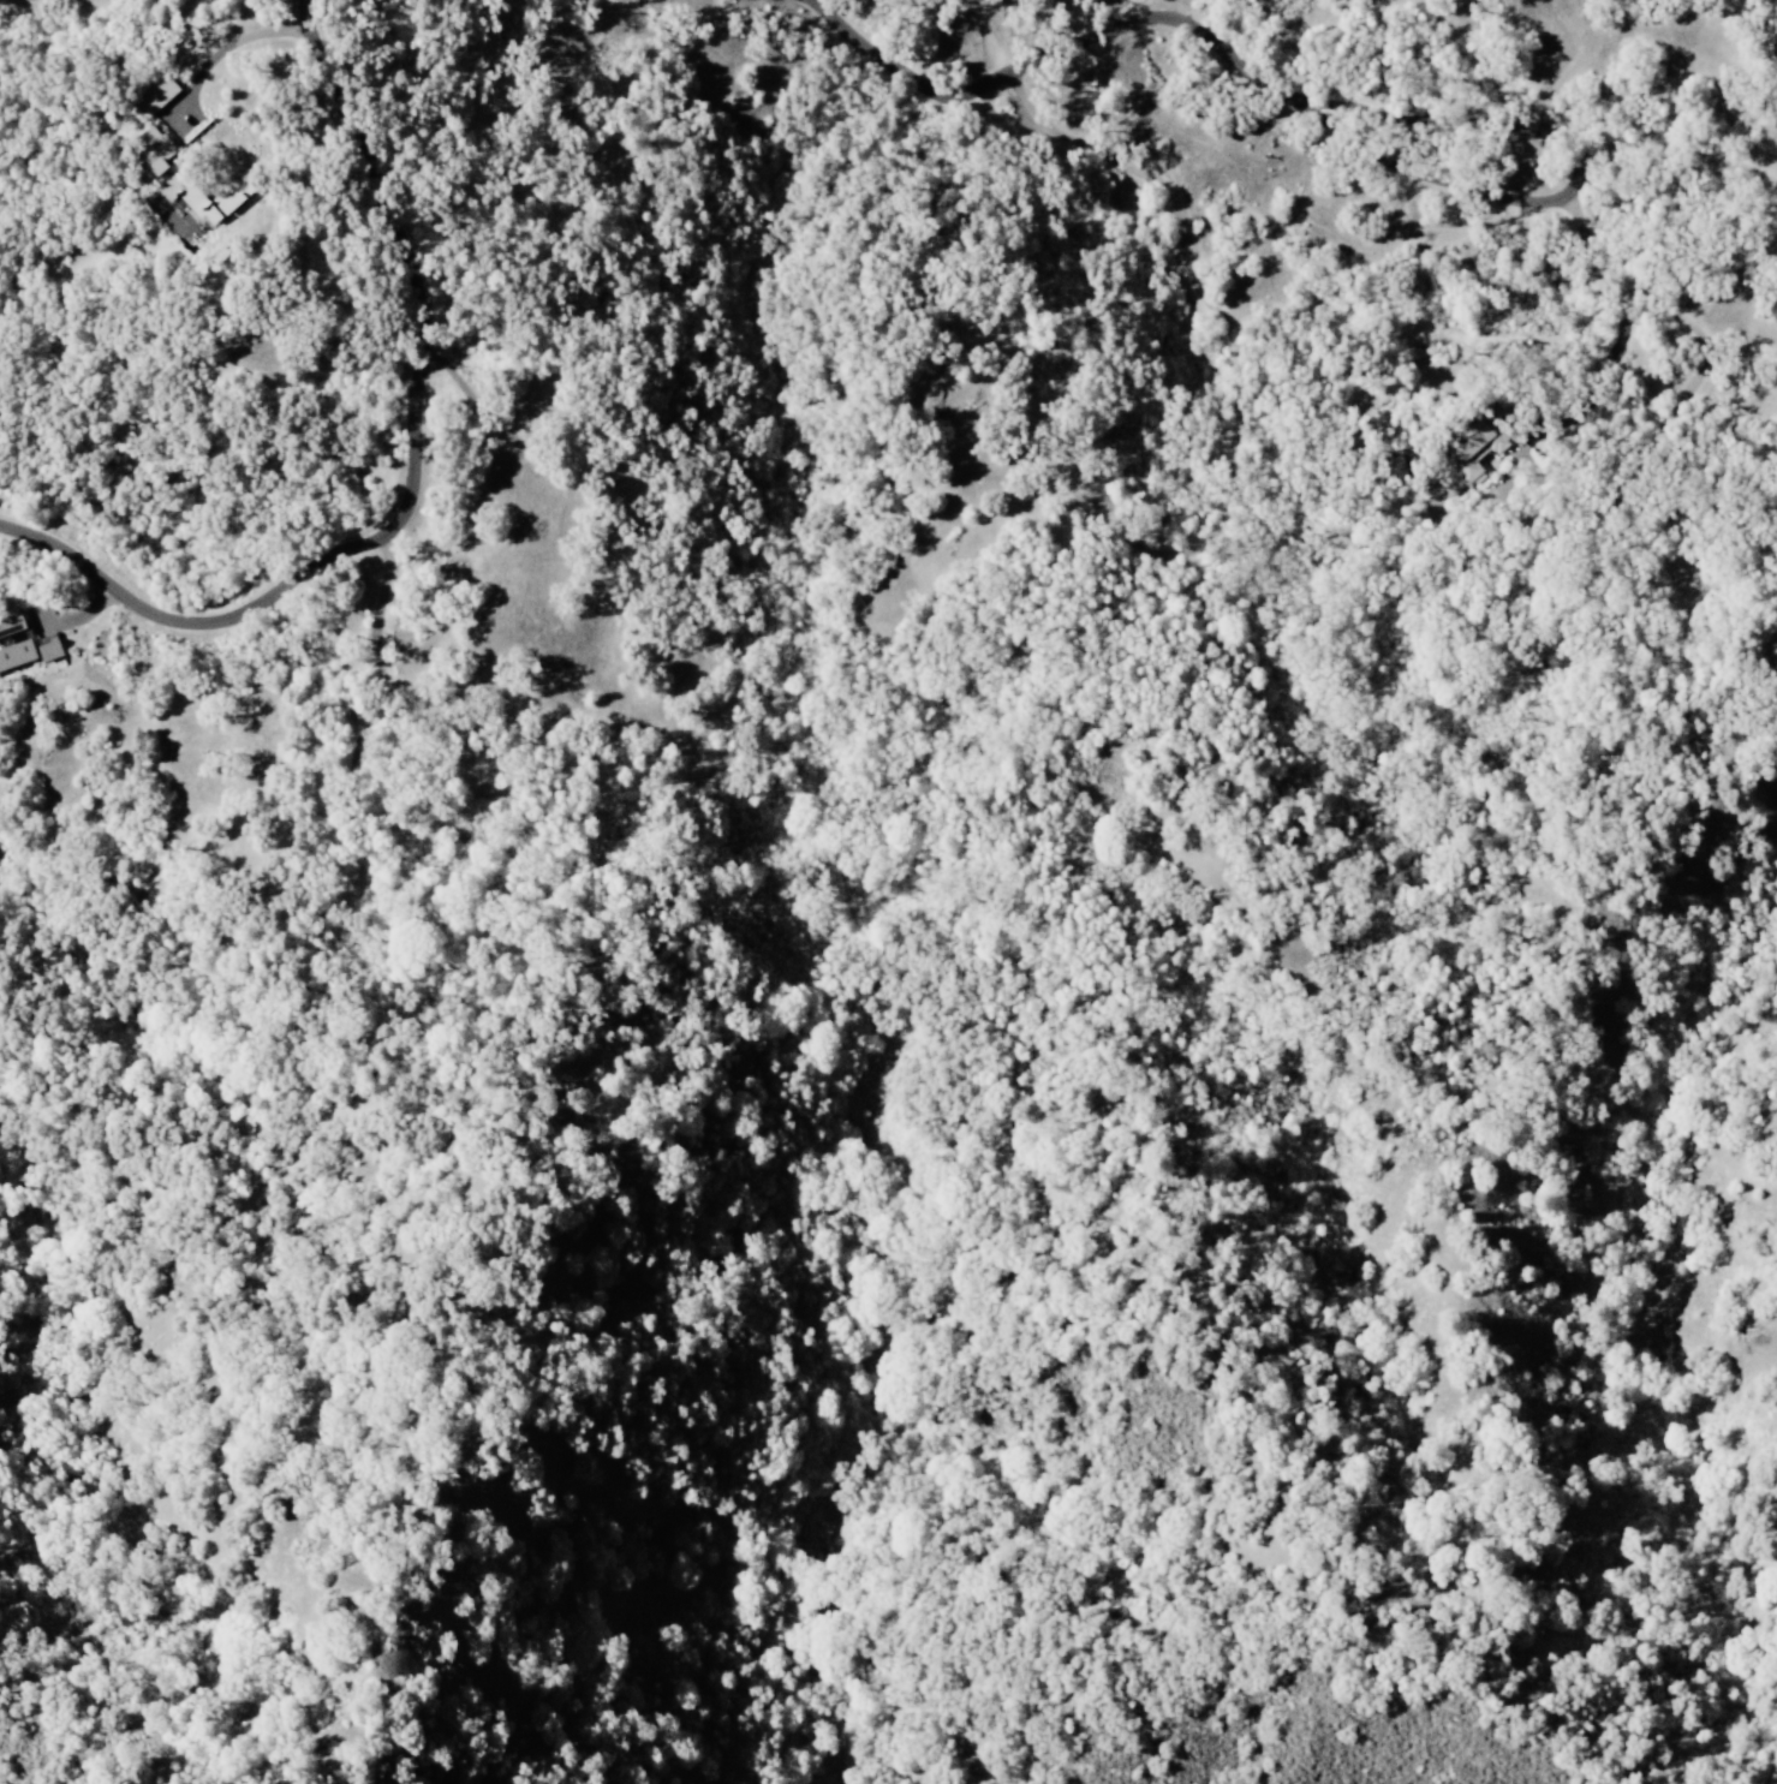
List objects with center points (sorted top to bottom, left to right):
road: (1066, 41)
road: (1569, 183)
building: (1381, 424)
building: (1471, 452)
road: (416, 477)

